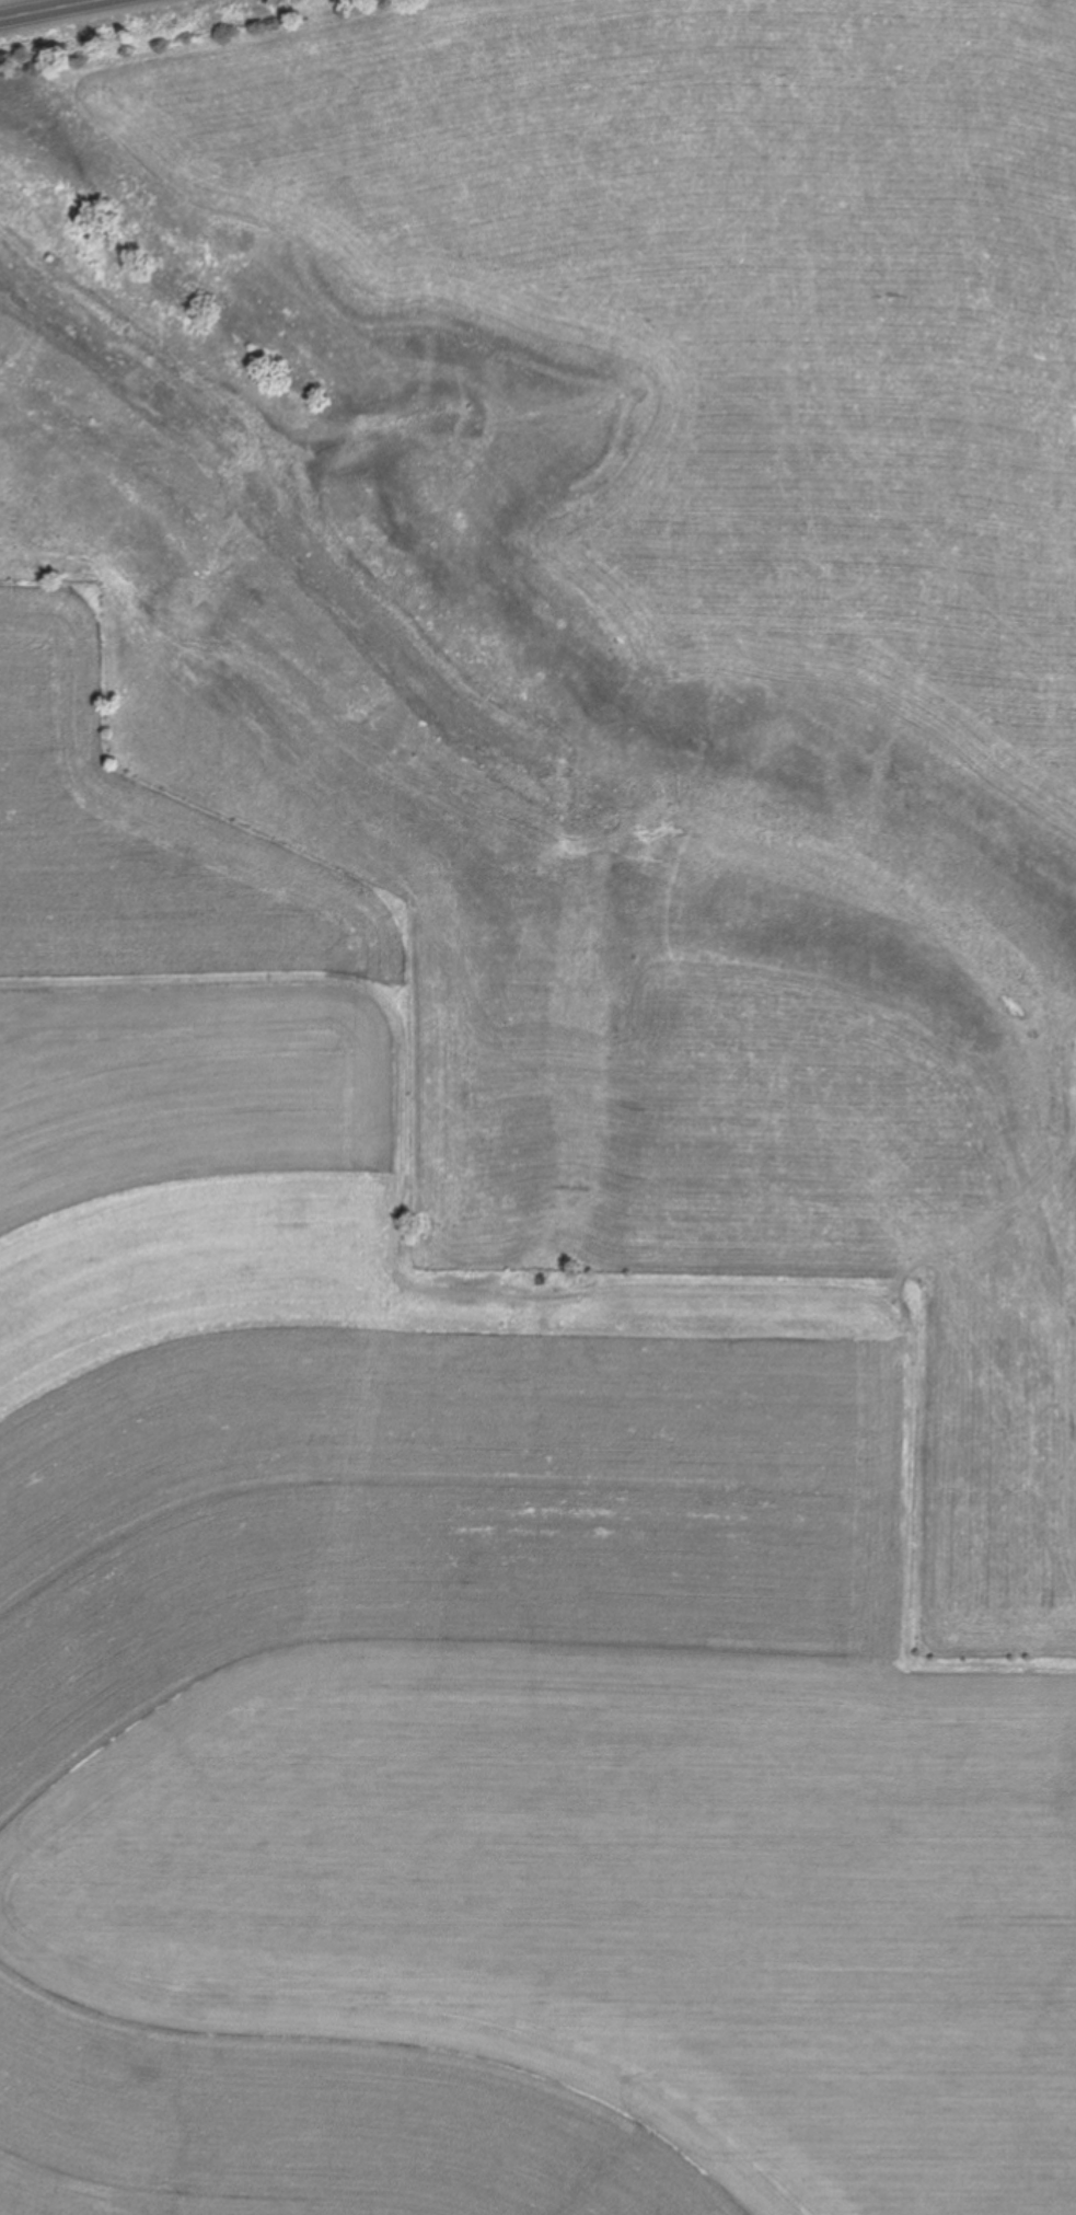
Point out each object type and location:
road: (56, 10)
crop: (537, 1108)

